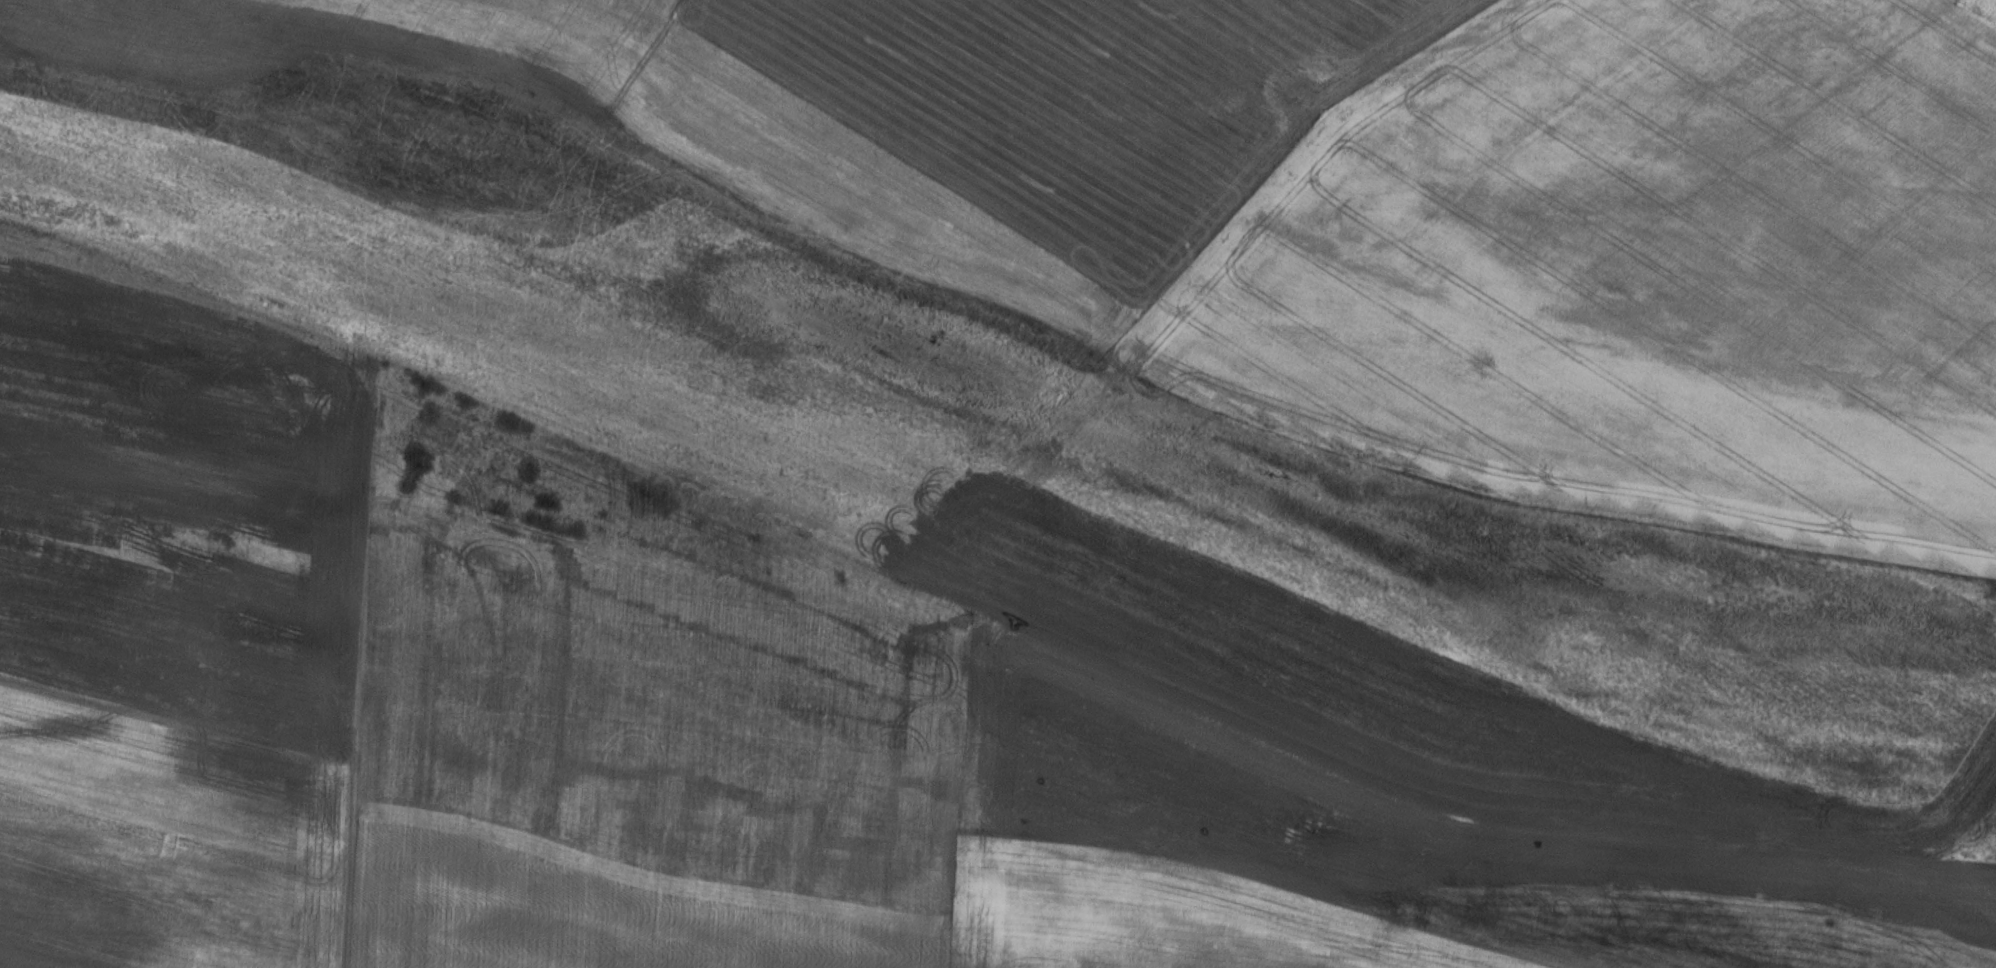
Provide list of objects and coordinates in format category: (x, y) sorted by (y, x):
crop: (1955, 1)
crop: (1086, 103)
crop: (1649, 258)
crop: (1495, 624)
crop: (1976, 831)
crop: (1372, 861)

